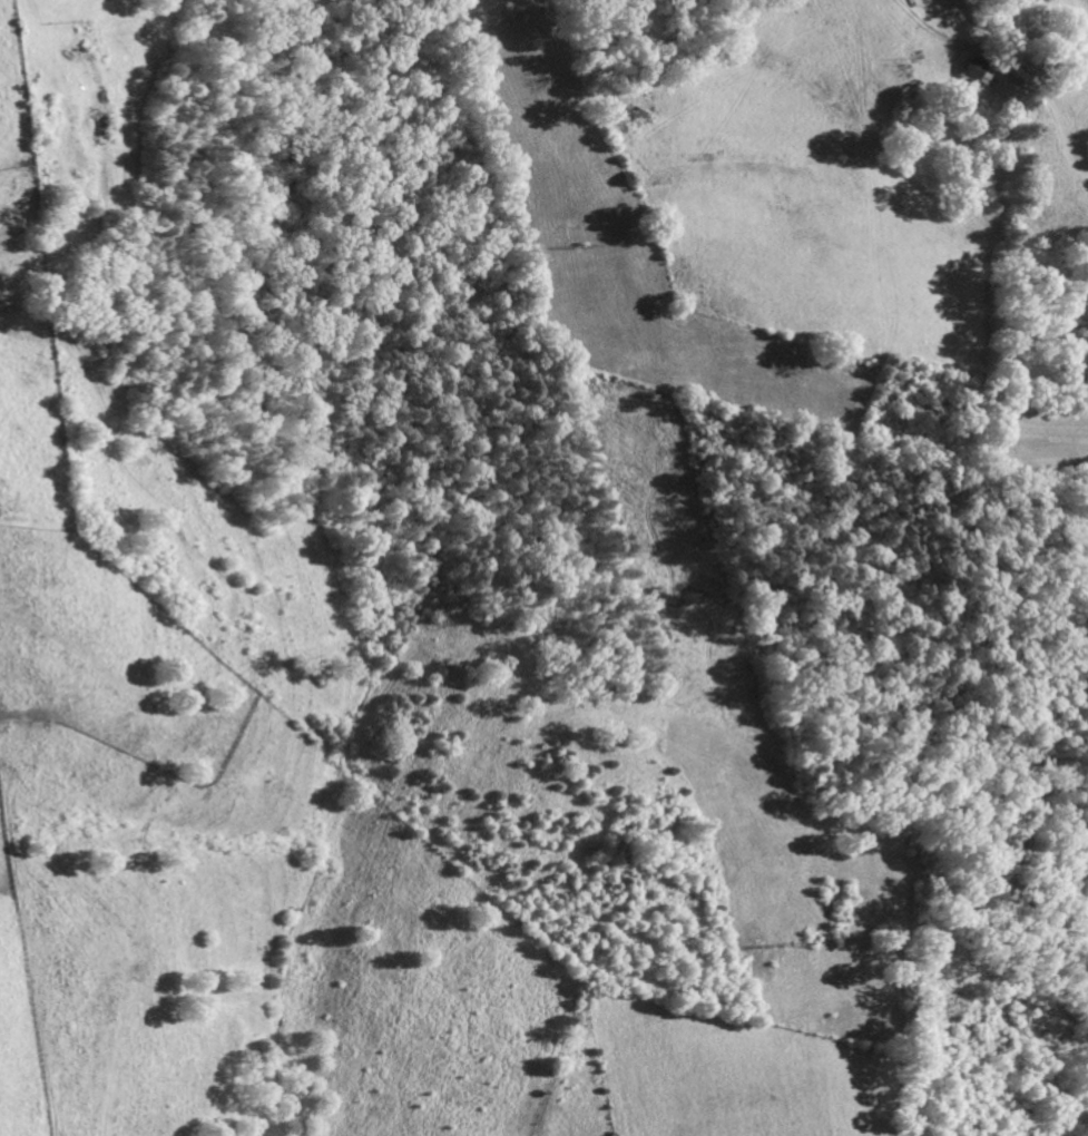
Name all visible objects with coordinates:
building: (970, 69)
power tower: (578, 246)
power tower: (783, 941)

